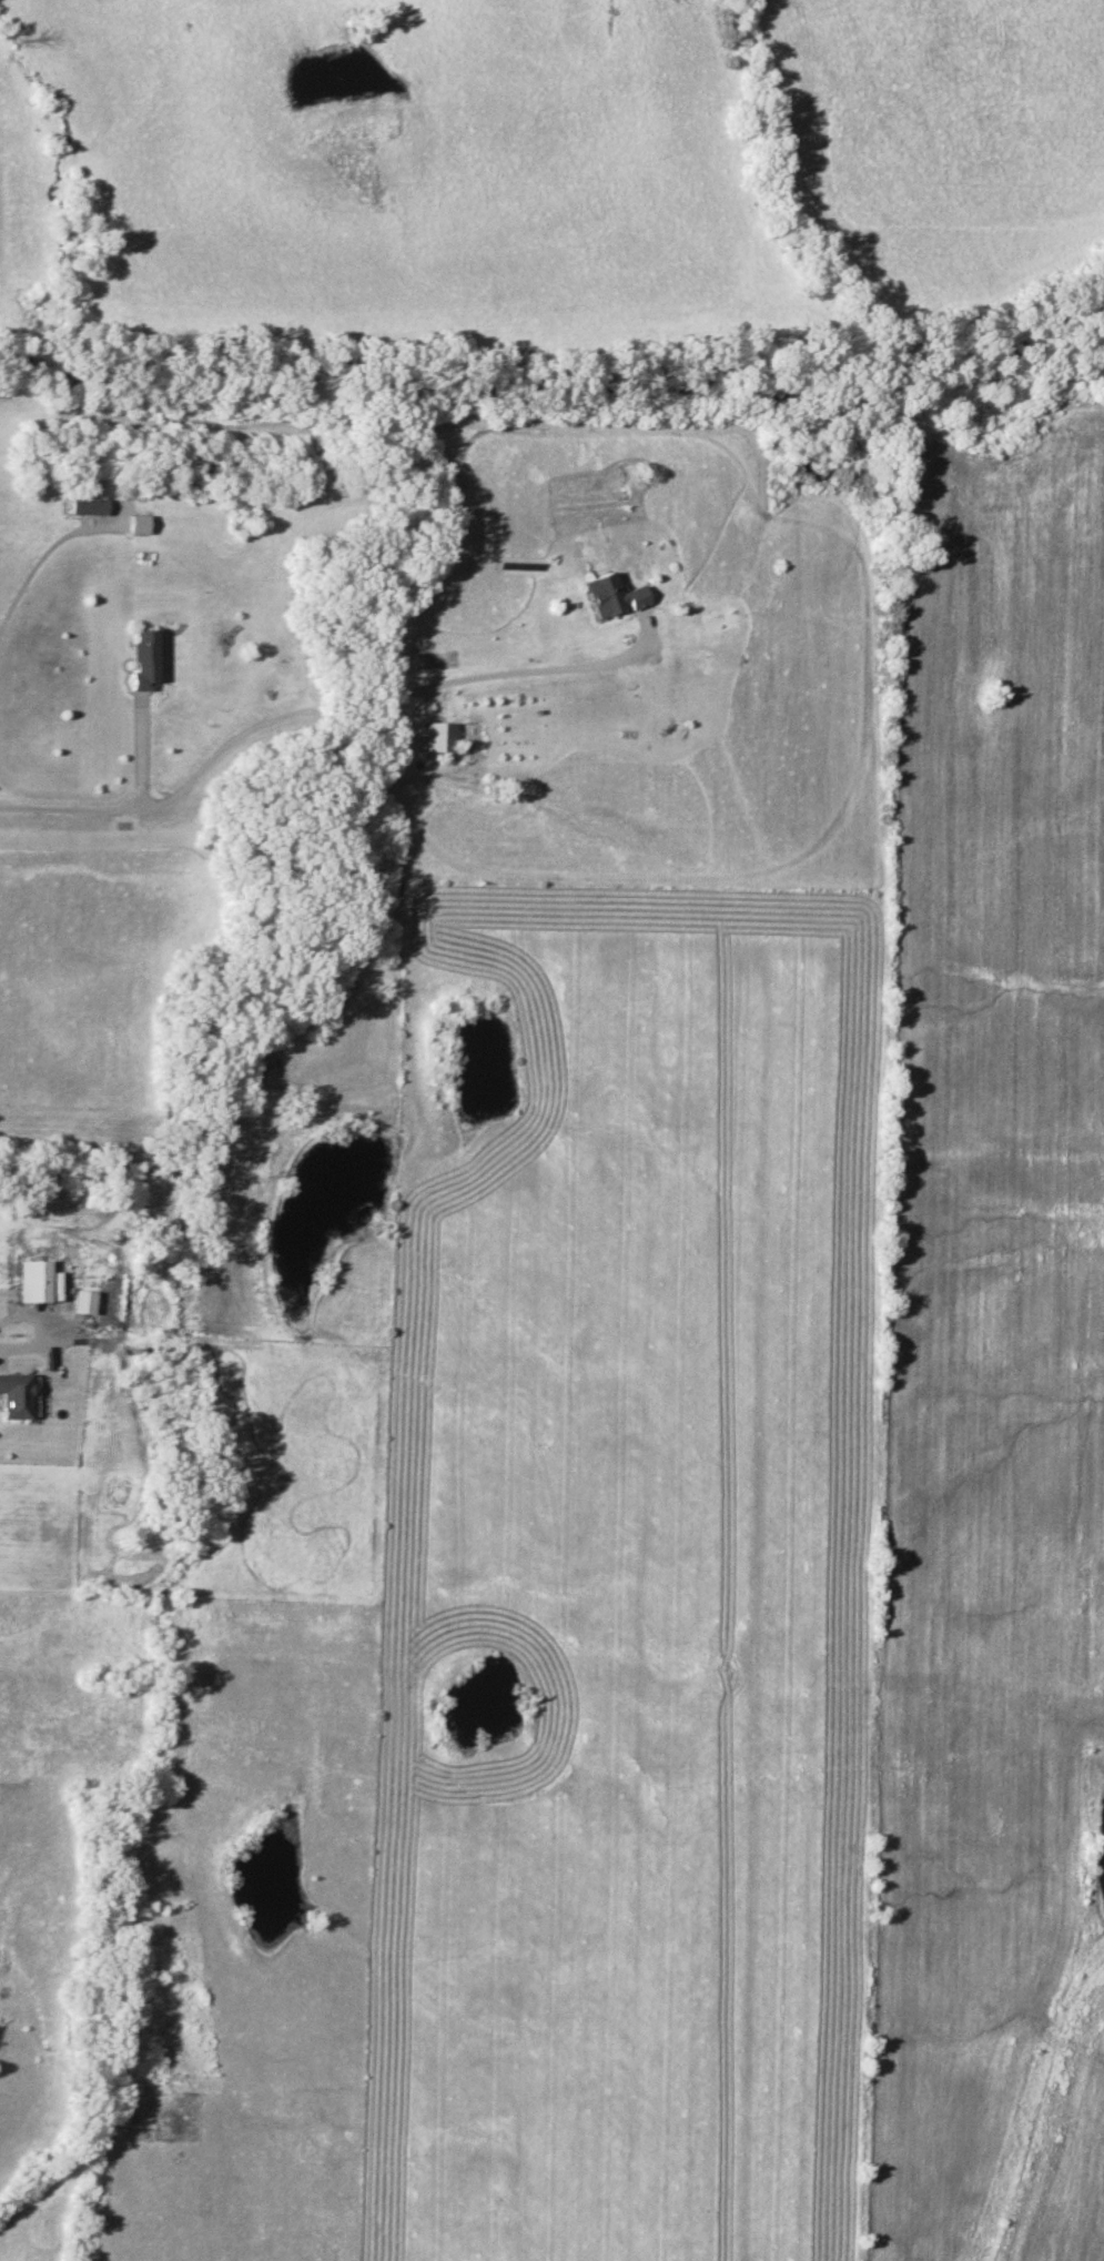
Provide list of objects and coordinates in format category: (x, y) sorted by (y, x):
building: (89, 507)
road: (39, 557)
building: (612, 596)
building: (145, 658)
road: (320, 713)
building: (439, 737)
road: (139, 750)
road: (3, 1347)
building: (17, 1396)

